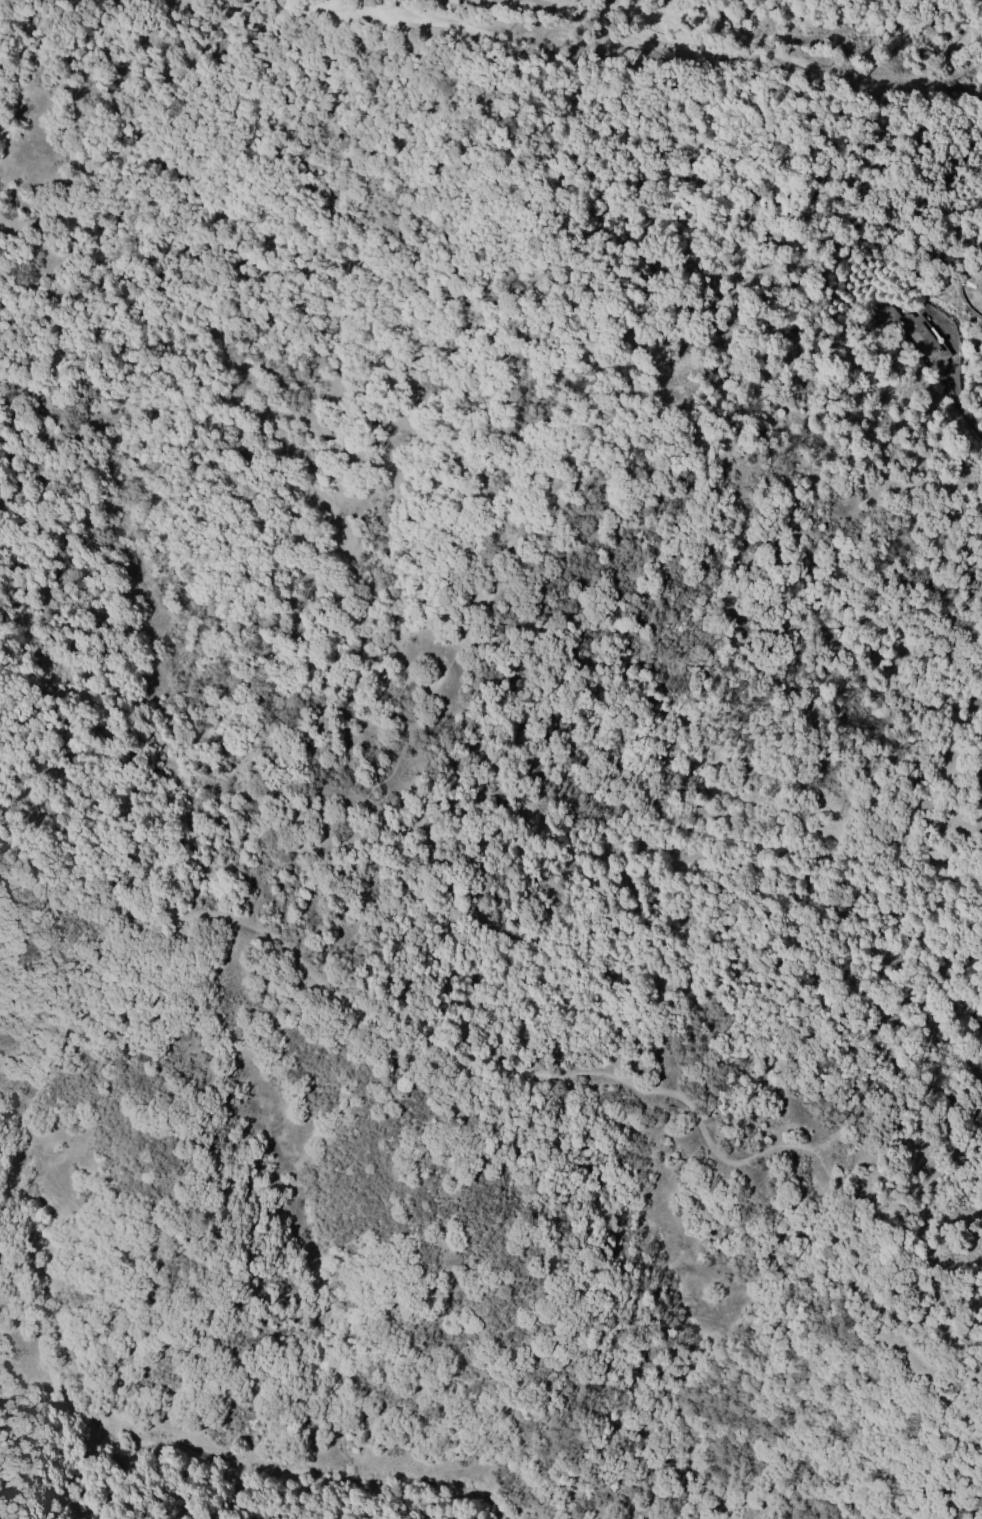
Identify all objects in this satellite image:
building: (925, 340)
road: (551, 1066)

